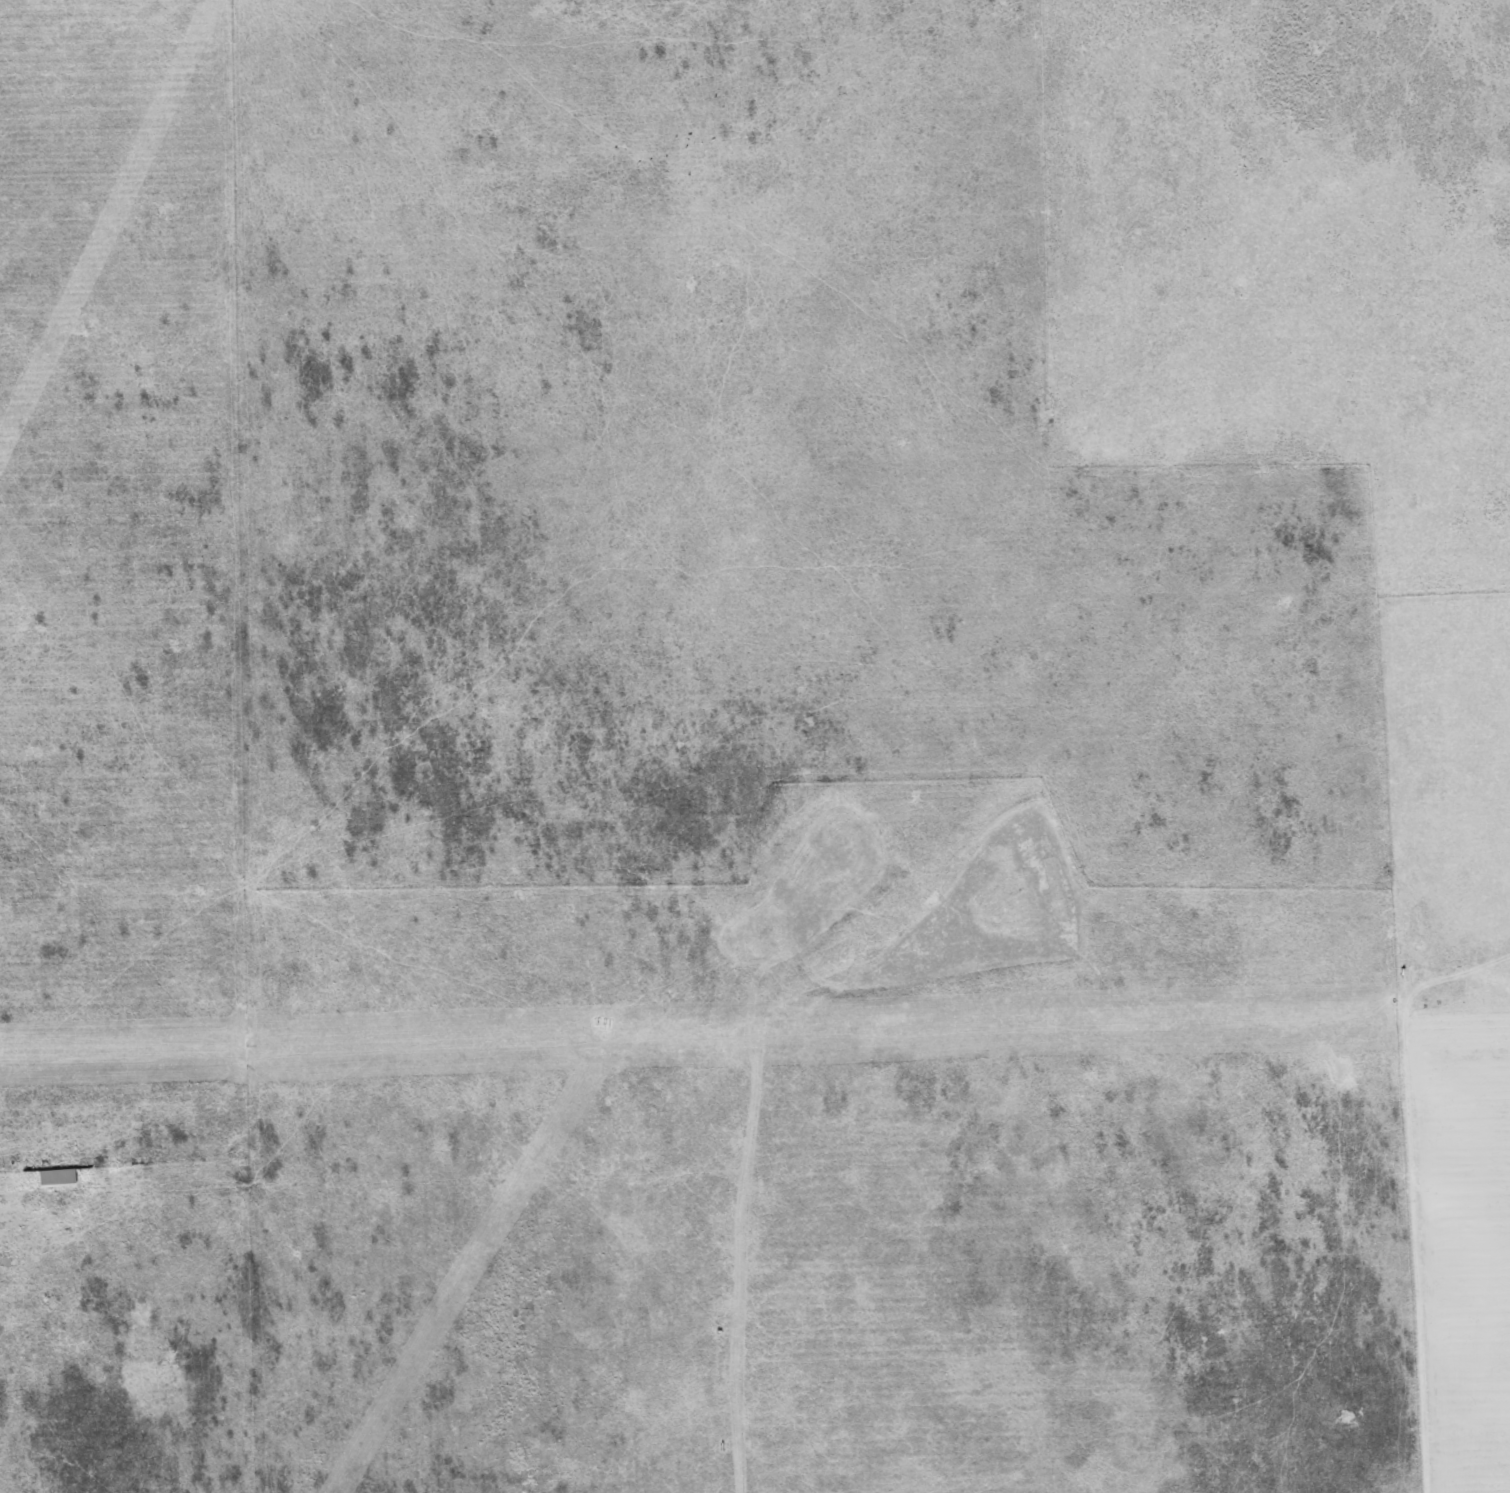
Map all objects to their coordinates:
building: (52, 1177)

